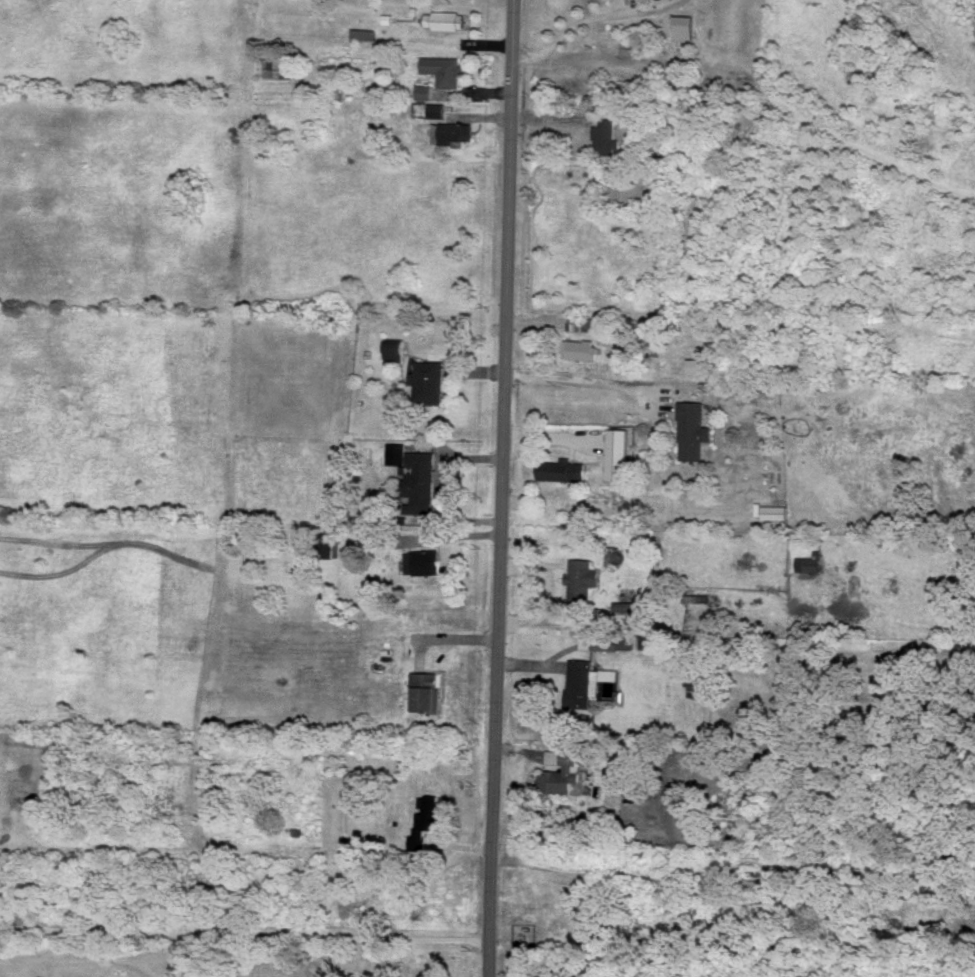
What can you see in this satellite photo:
building: (446, 19)
road: (581, 22)
building: (686, 25)
building: (364, 32)
building: (278, 67)
building: (444, 69)
building: (424, 90)
building: (436, 110)
building: (455, 131)
building: (608, 135)
building: (582, 348)
building: (395, 349)
building: (703, 364)
building: (428, 381)
road: (595, 381)
building: (695, 429)
building: (617, 453)
building: (562, 469)
building: (415, 476)
road: (502, 488)
building: (775, 511)
building: (328, 543)
building: (423, 560)
building: (583, 578)
building: (626, 605)
road: (444, 639)
building: (593, 640)
building: (646, 641)
building: (587, 681)
building: (694, 682)
building: (426, 690)
building: (562, 771)
building: (427, 818)
road: (230, 933)
building: (551, 973)

